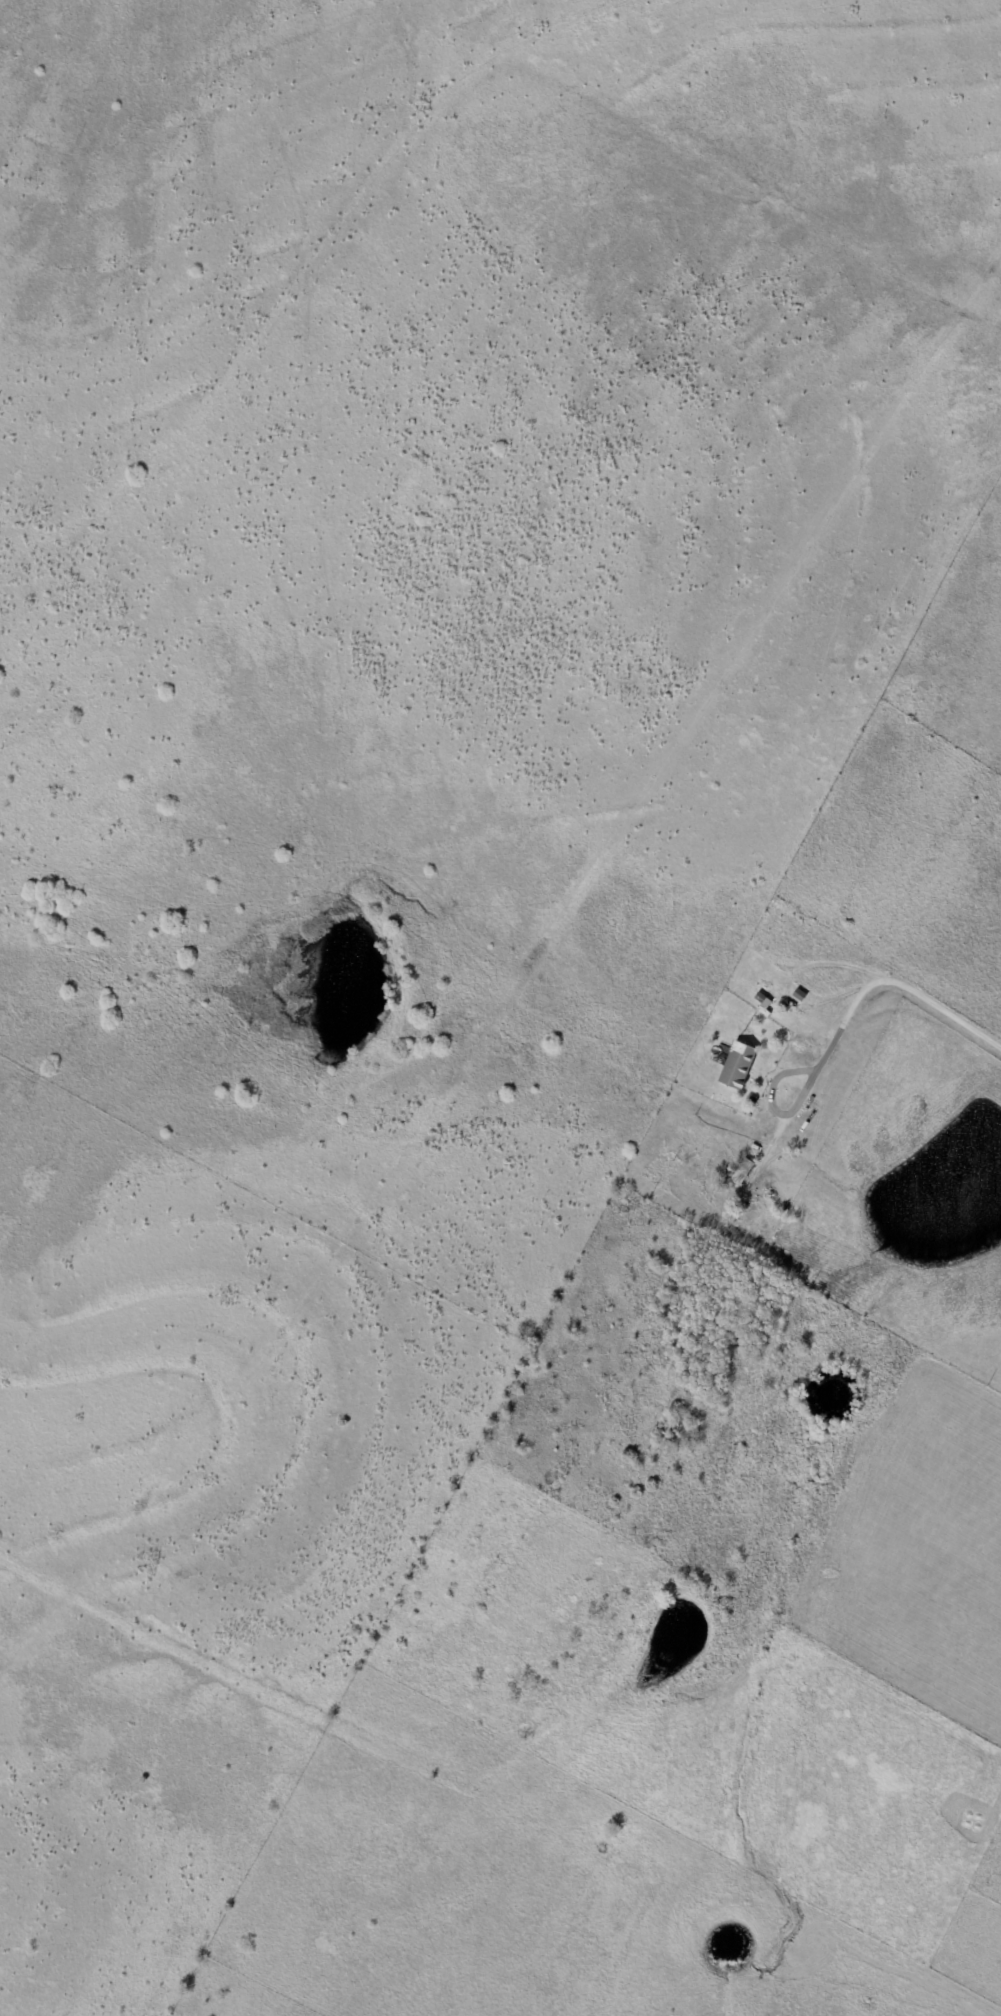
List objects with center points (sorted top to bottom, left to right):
road: (894, 981)
building: (738, 1065)
road: (776, 1106)
building: (741, 1170)
building: (867, 2007)

